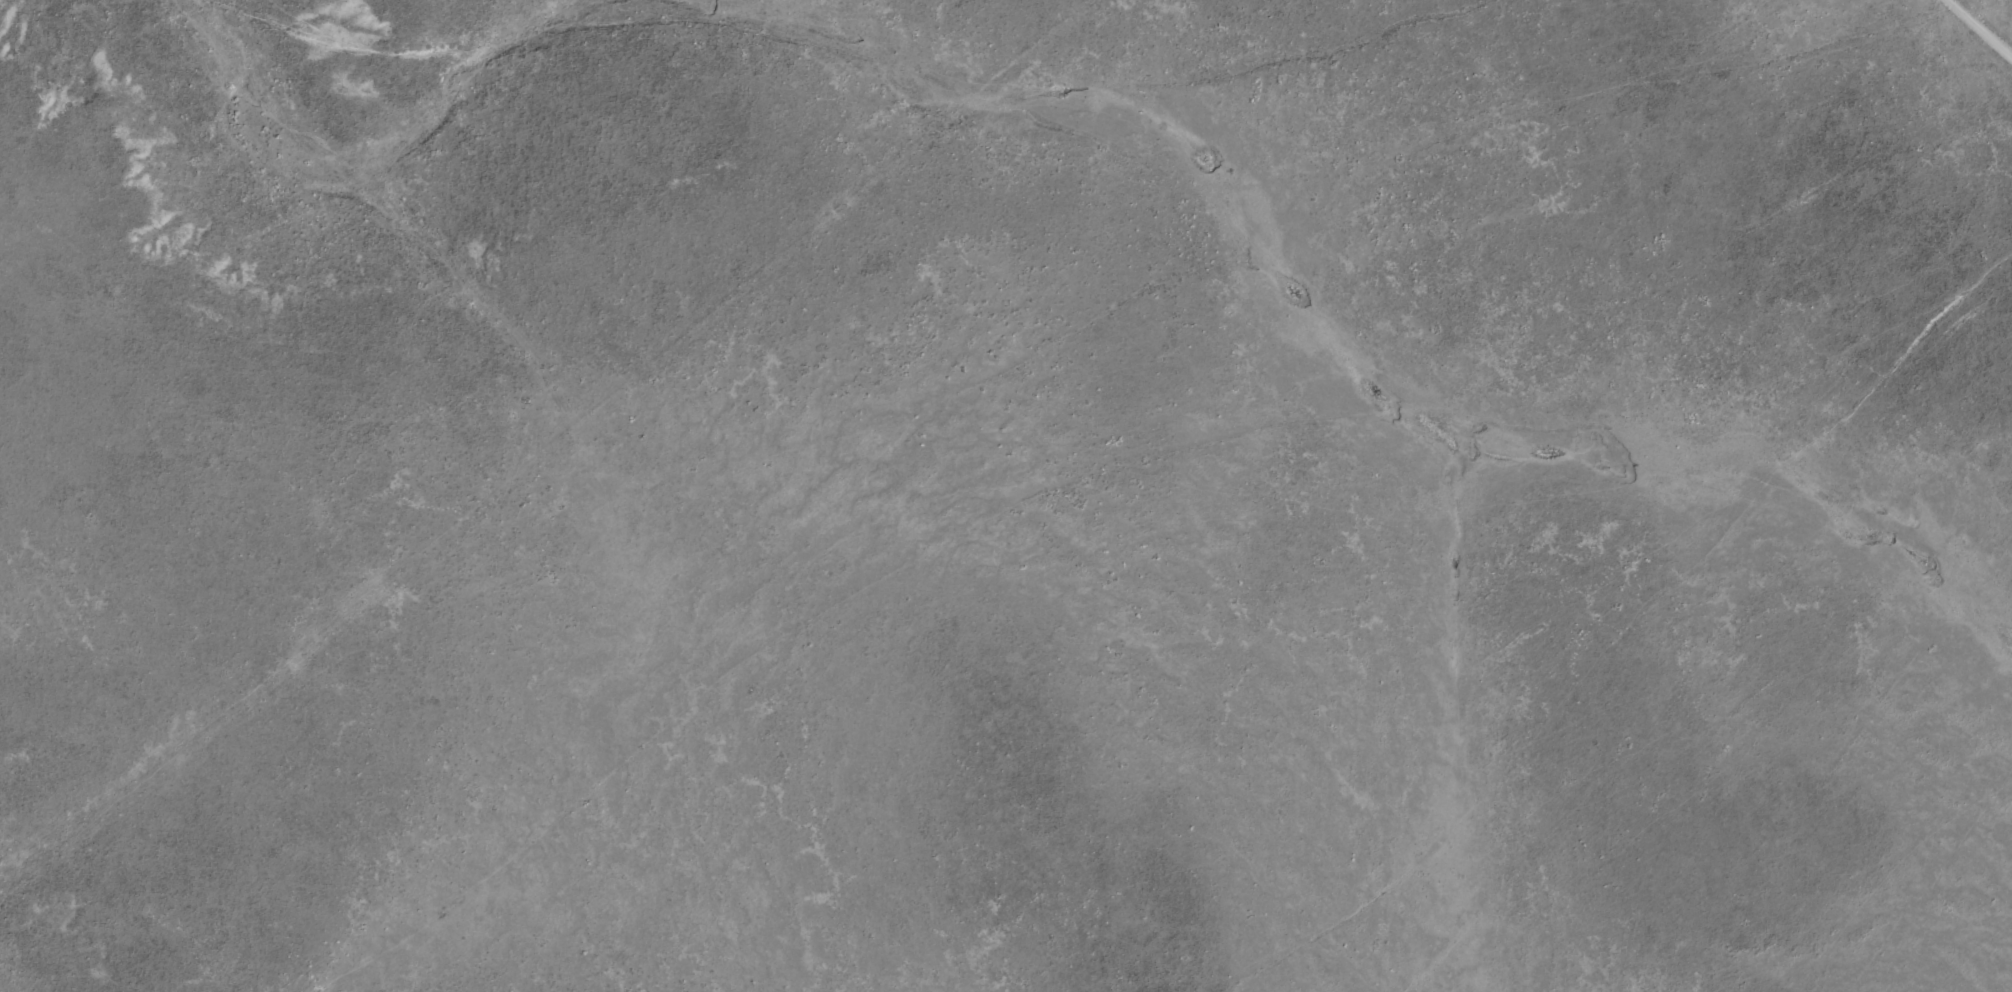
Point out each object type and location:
road: (1975, 30)

